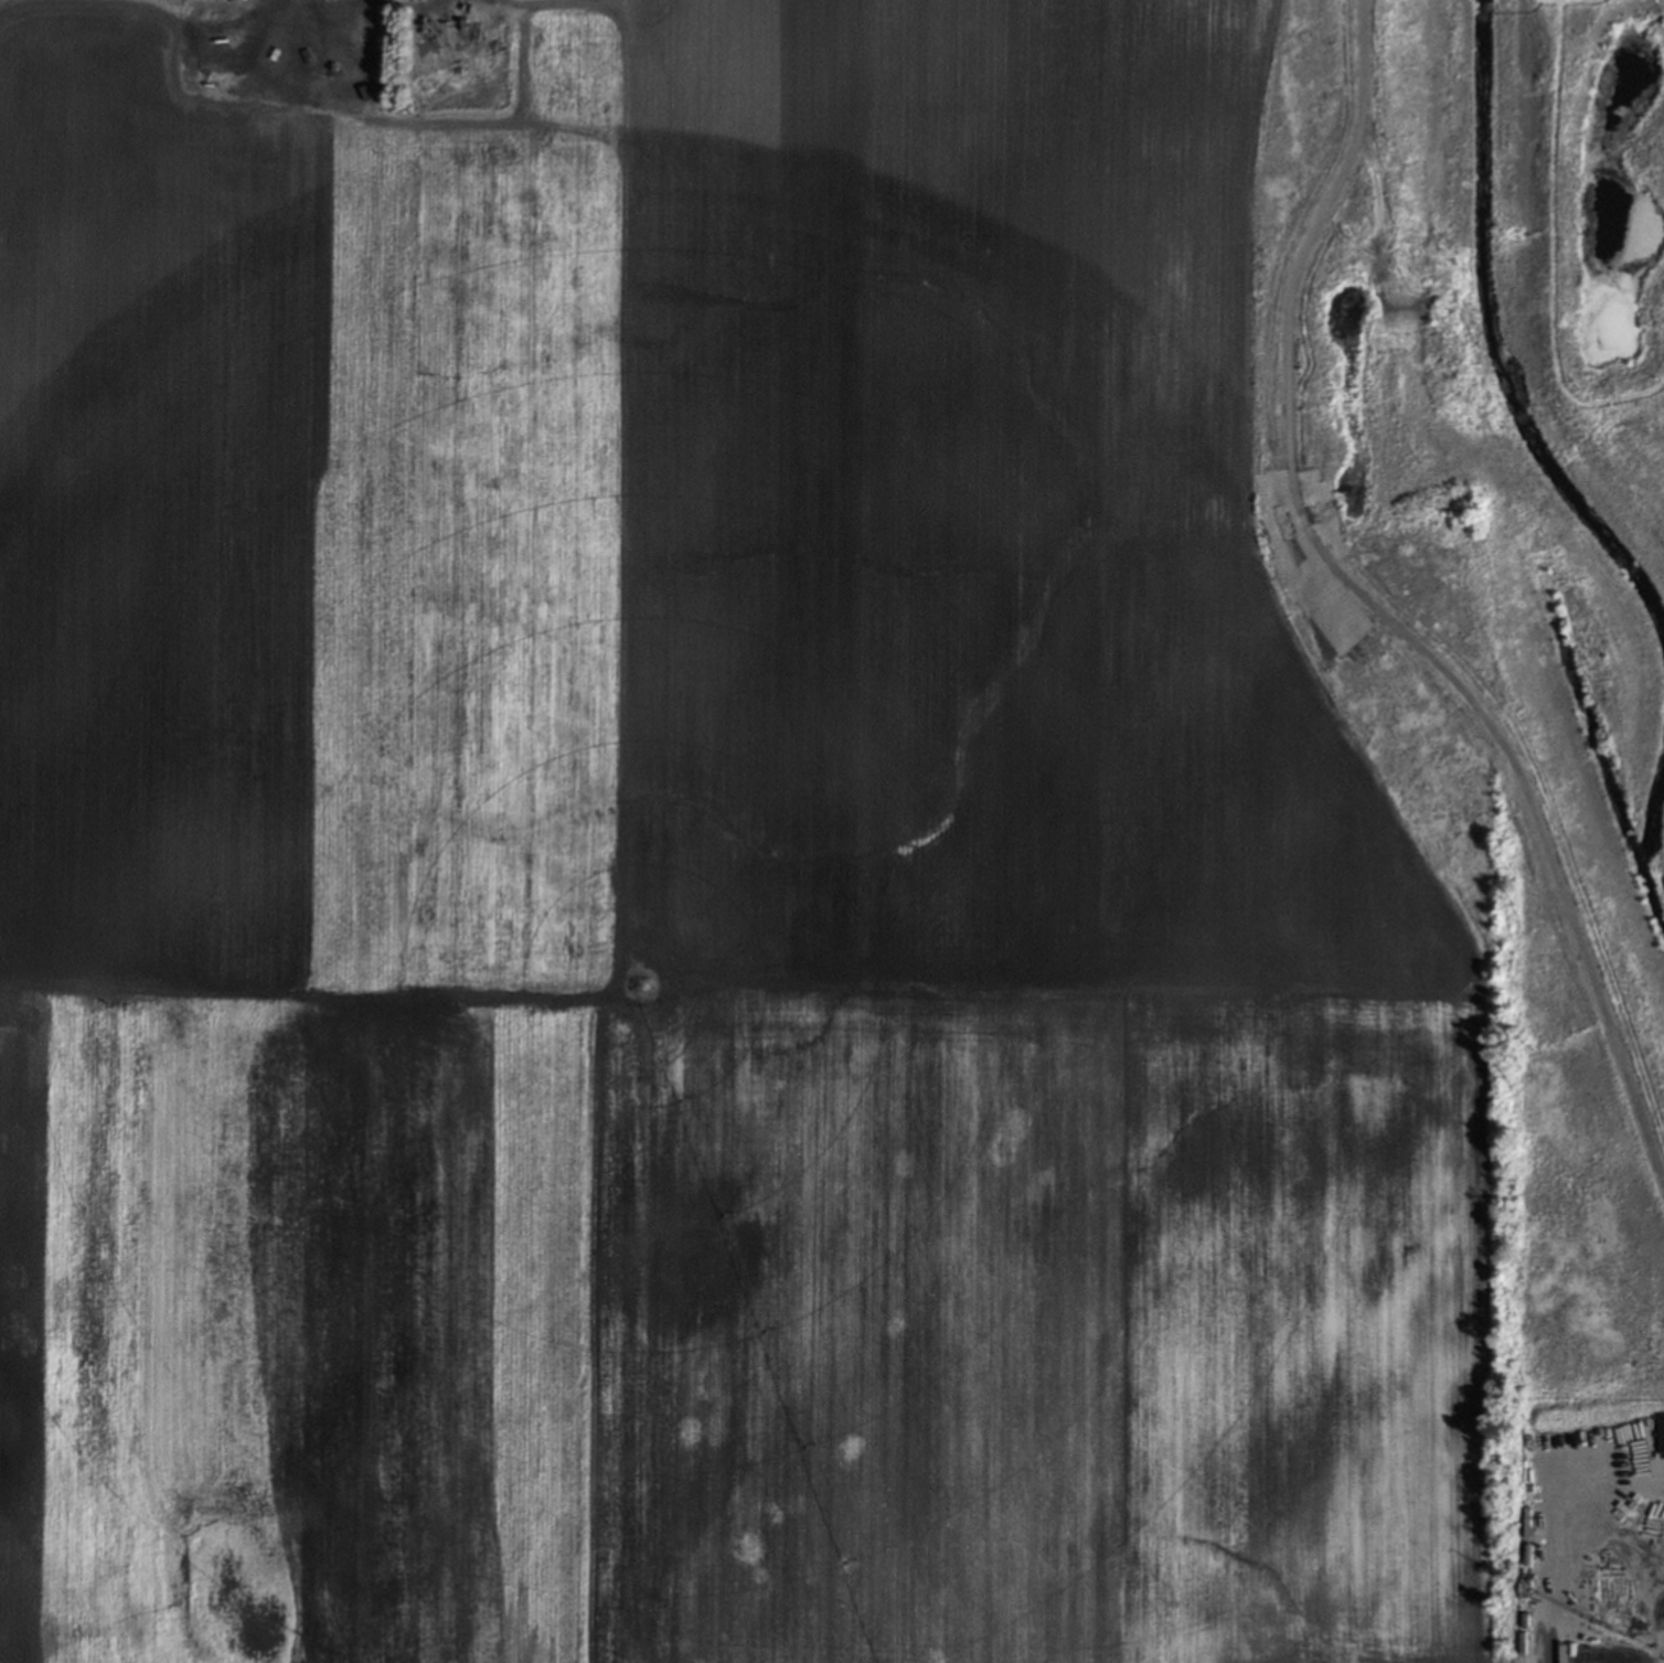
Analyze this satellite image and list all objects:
road: (349, 11)
road: (1385, 618)
park: (1502, 642)
crop: (701, 877)

